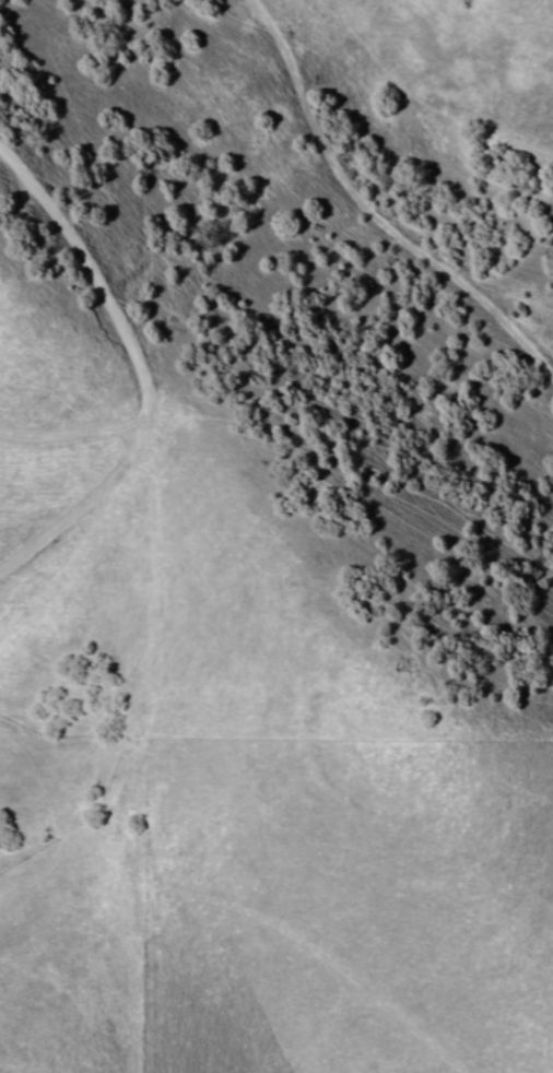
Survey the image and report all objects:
road: (128, 368)
road: (303, 602)

